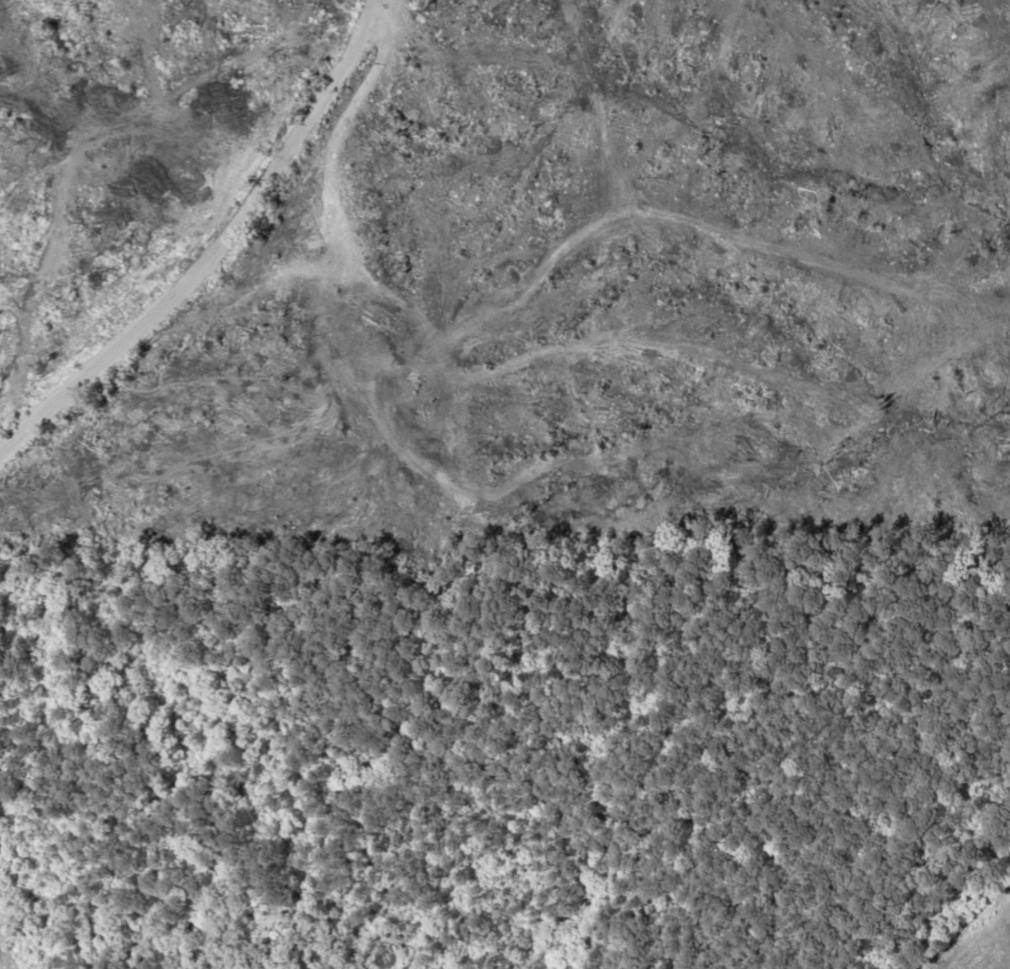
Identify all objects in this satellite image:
road: (250, 285)

